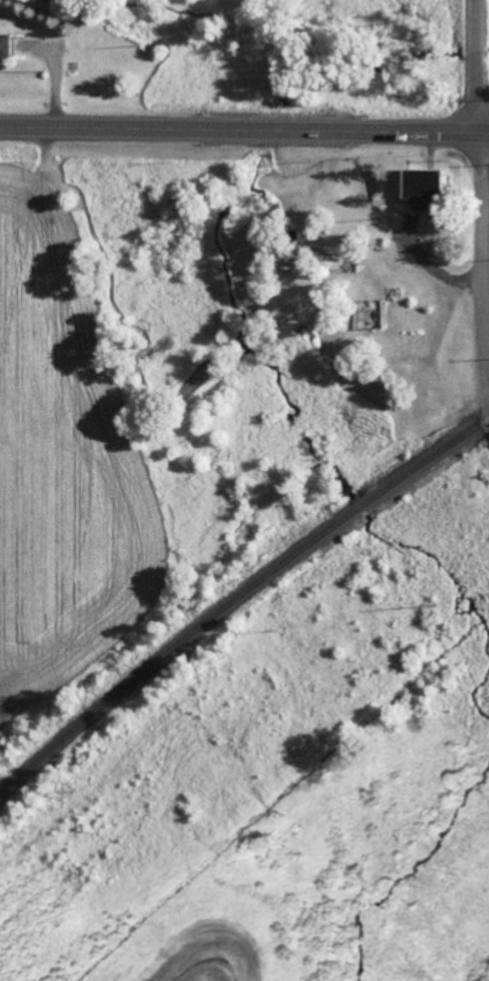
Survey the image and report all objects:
building: (4, 49)
road: (473, 64)
road: (237, 112)
road: (481, 129)
building: (424, 188)
road: (482, 278)
building: (372, 317)
railway: (237, 599)

